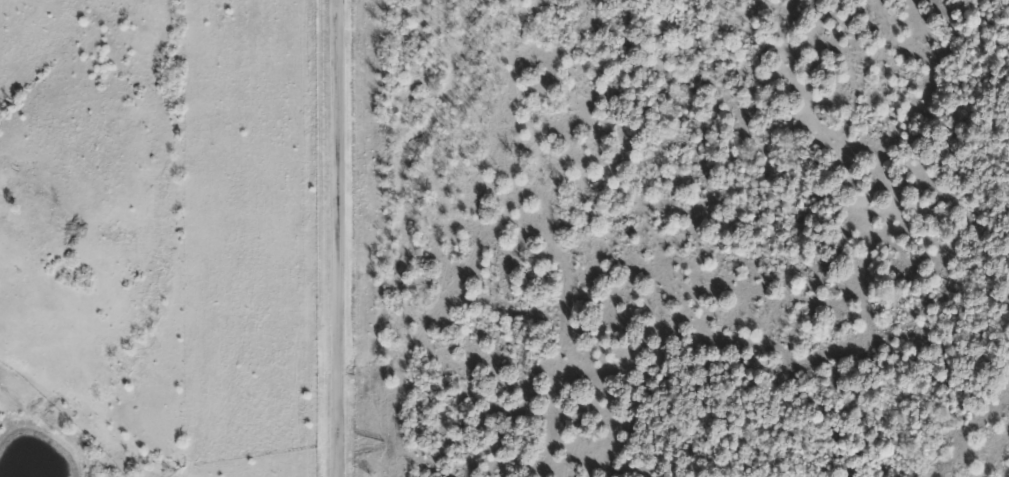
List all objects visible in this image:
road: (338, 238)

